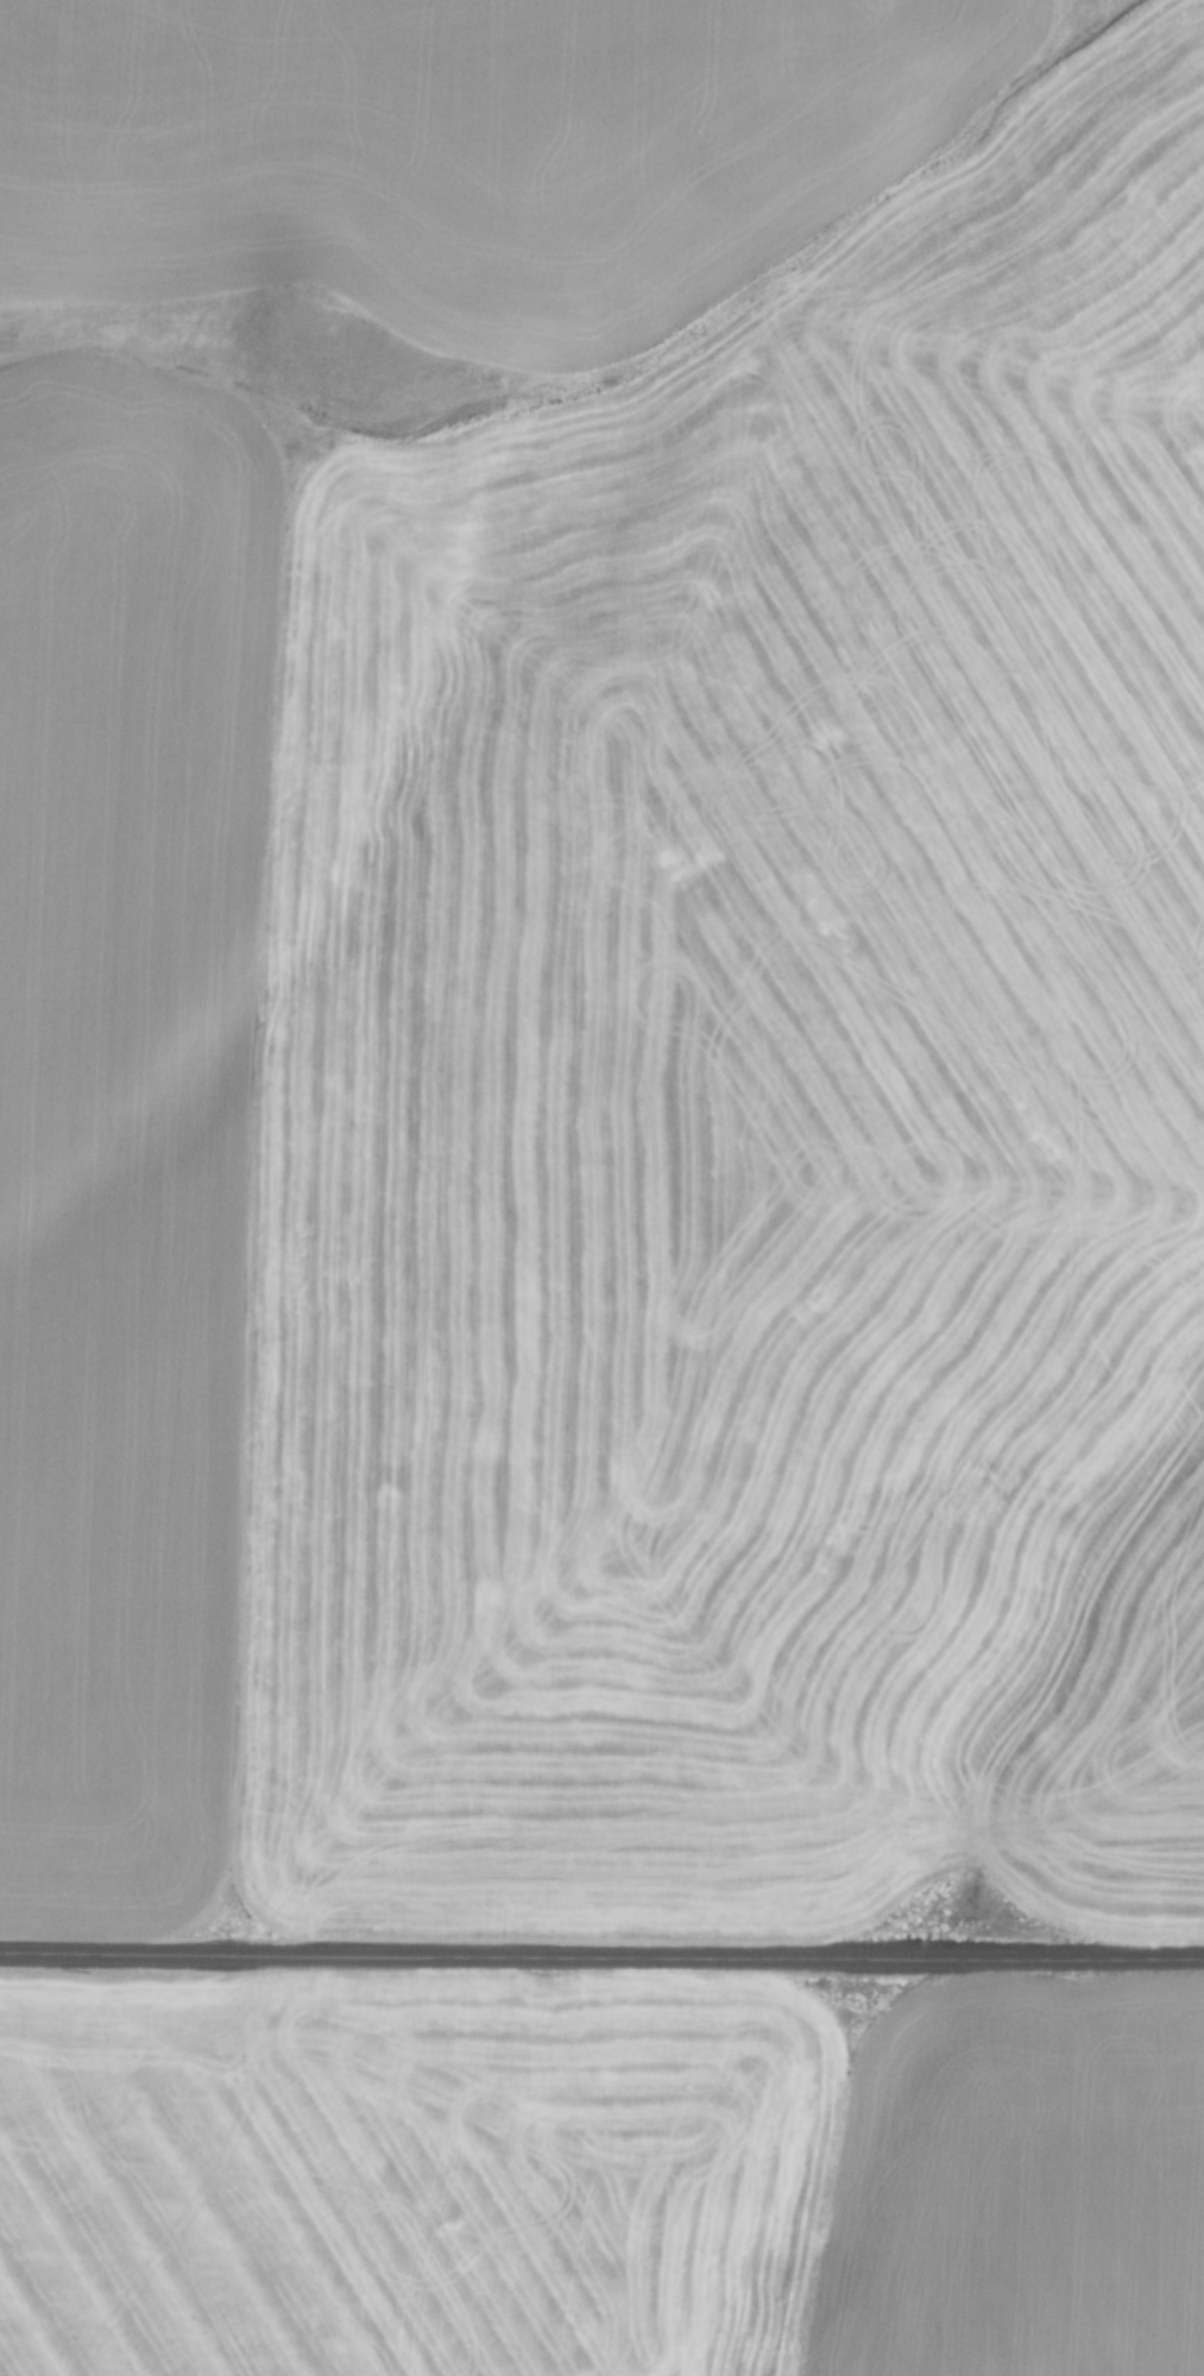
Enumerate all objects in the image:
road: (601, 1955)

